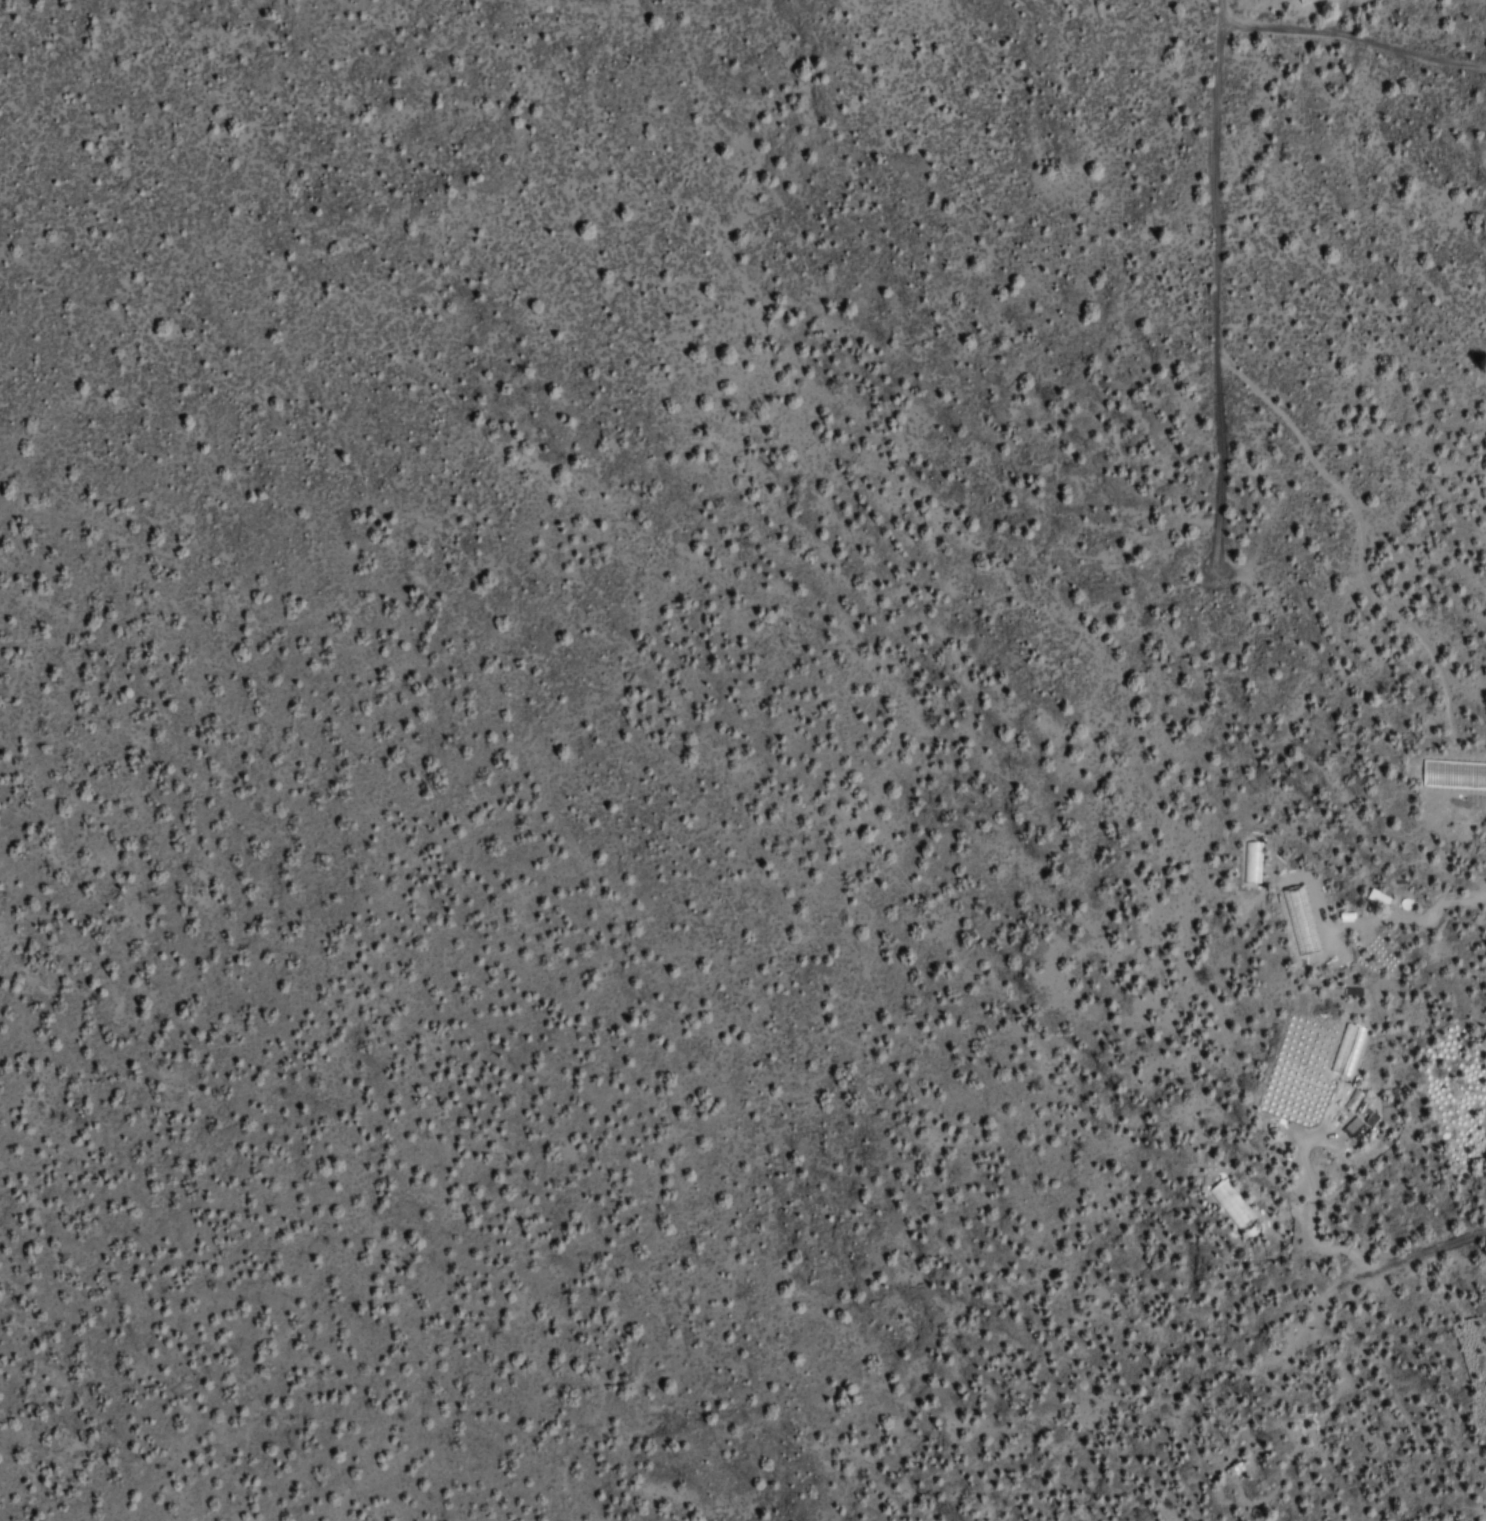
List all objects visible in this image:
road: (1348, 35)
road: (1211, 275)
building: (1347, 1050)
building: (1359, 1108)
building: (1354, 1128)
building: (1231, 1204)
road: (1455, 1236)

